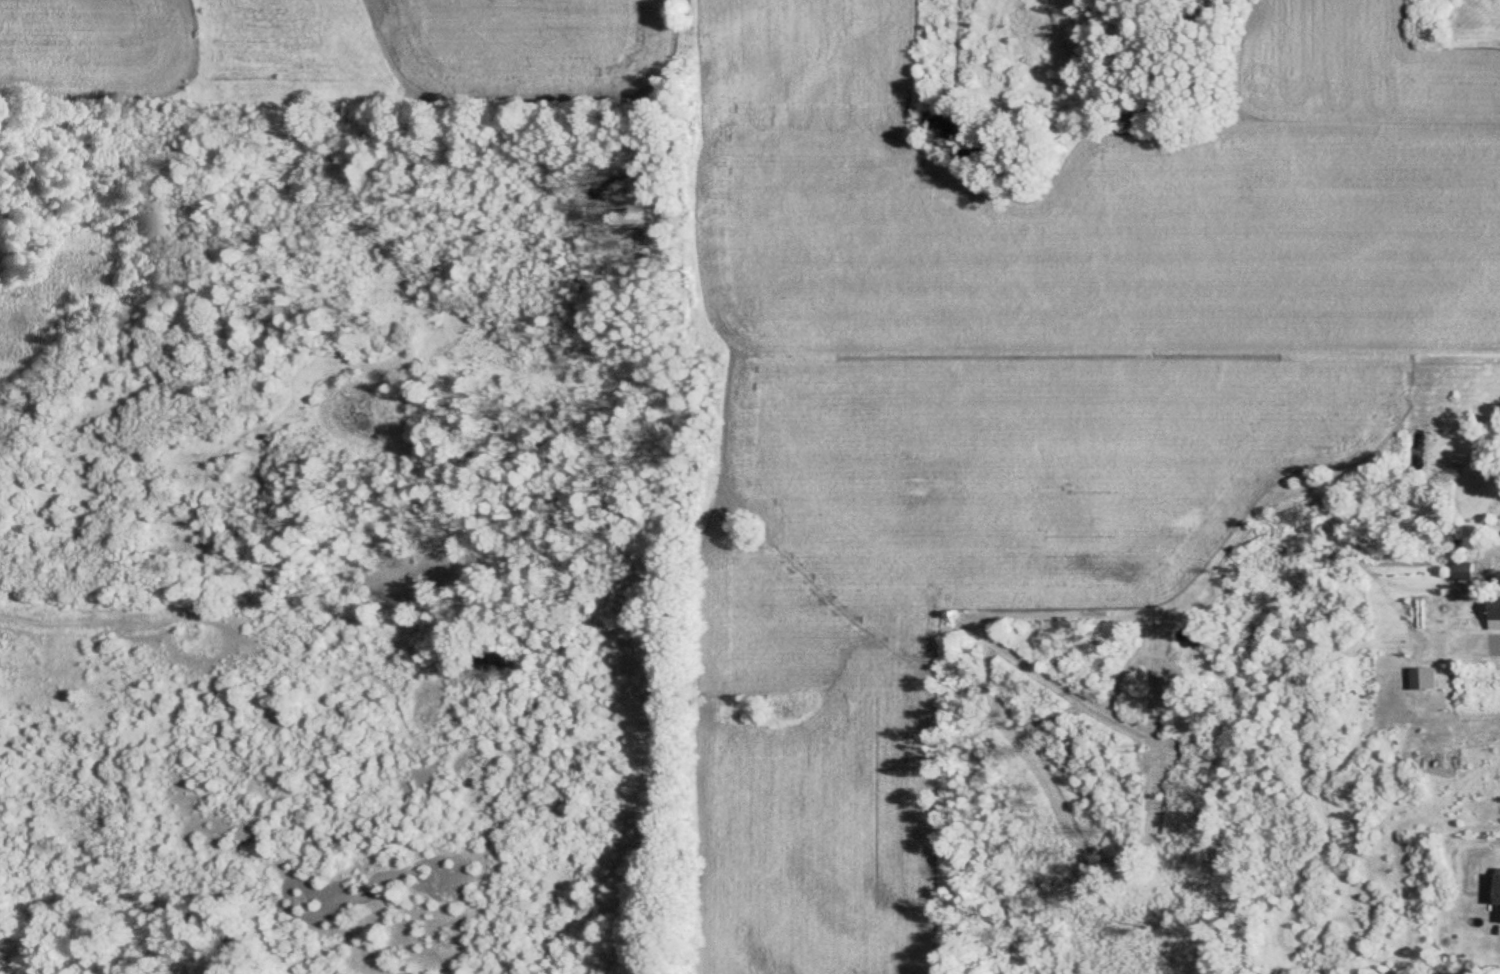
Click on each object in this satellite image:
building: (227, 583)
building: (1495, 893)

